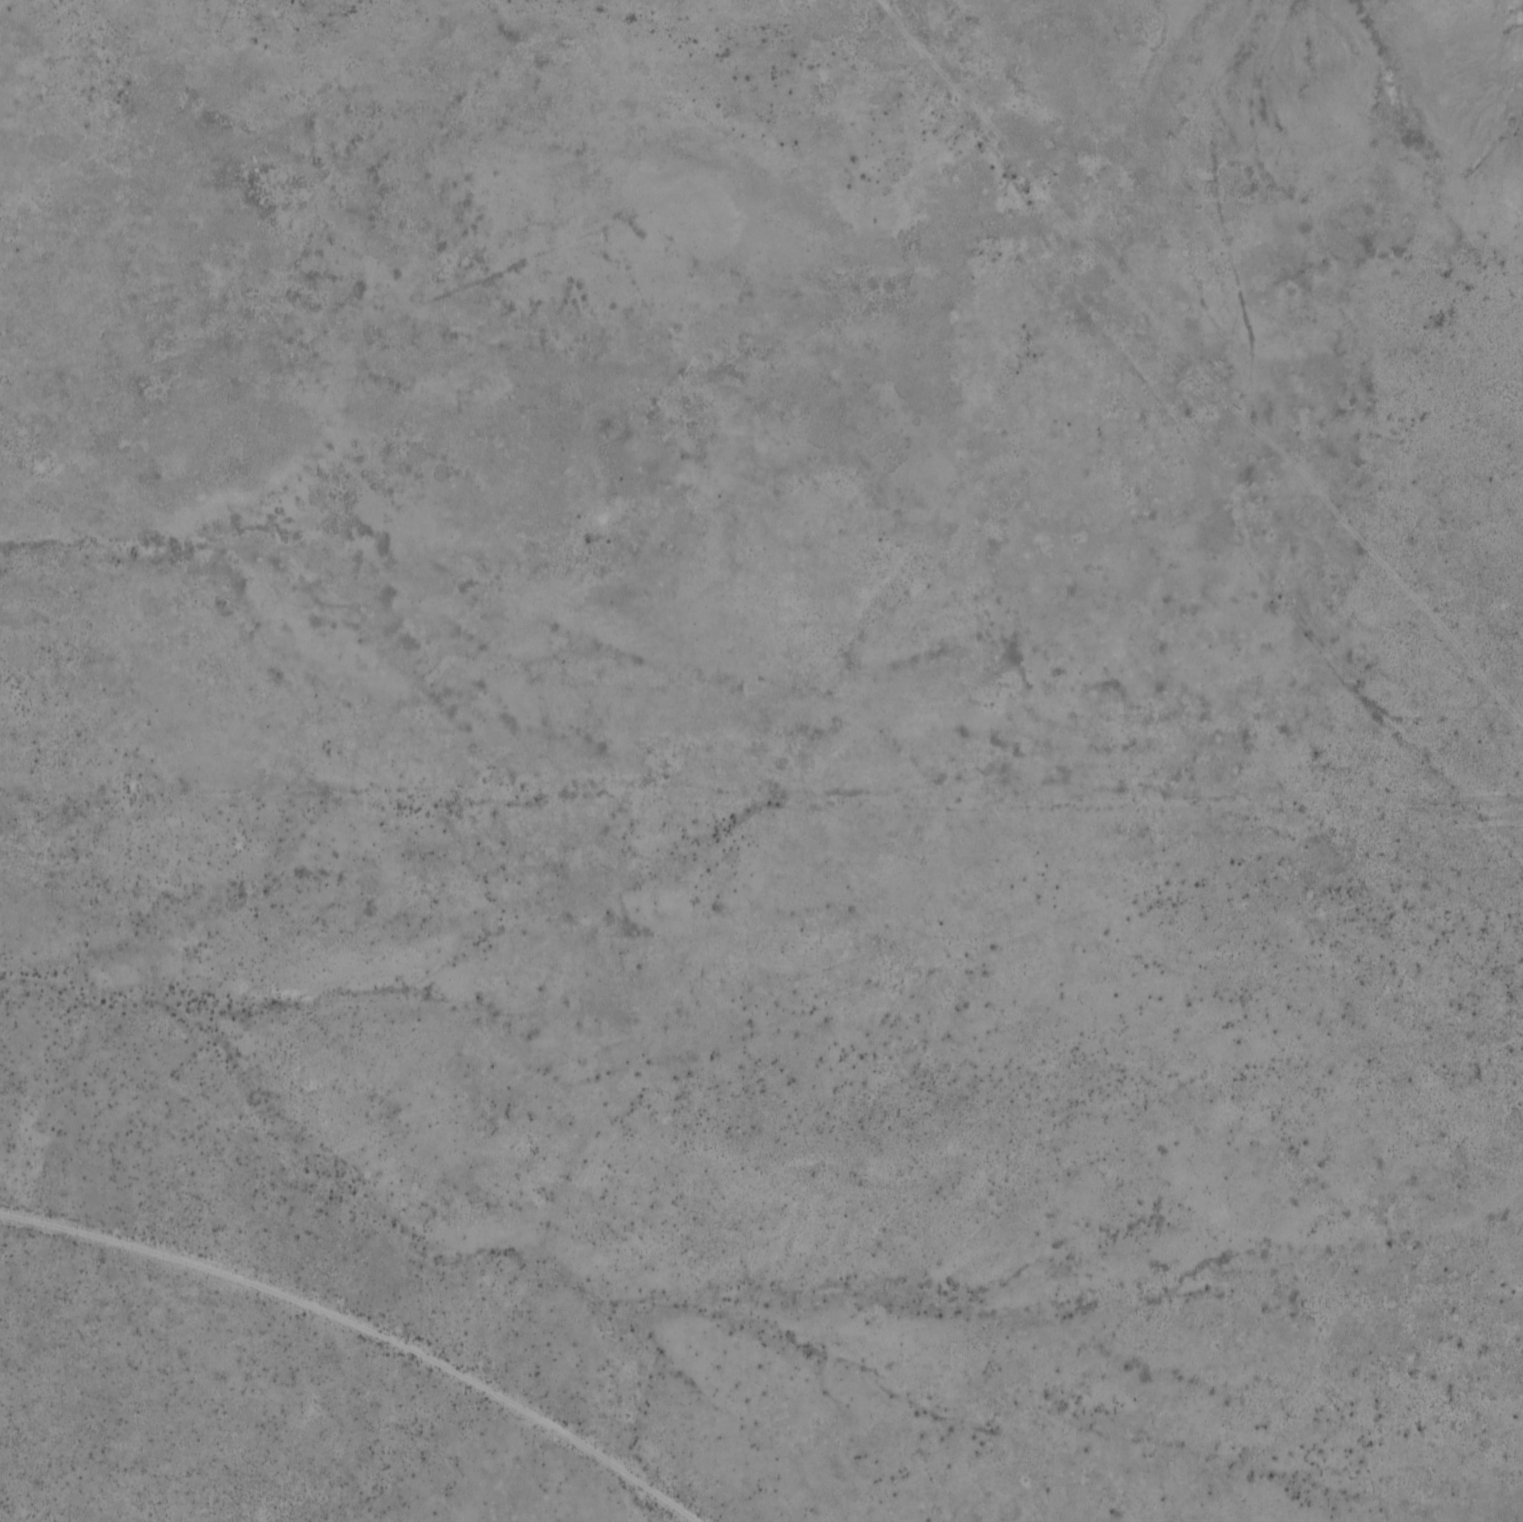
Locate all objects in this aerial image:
road: (368, 1330)

